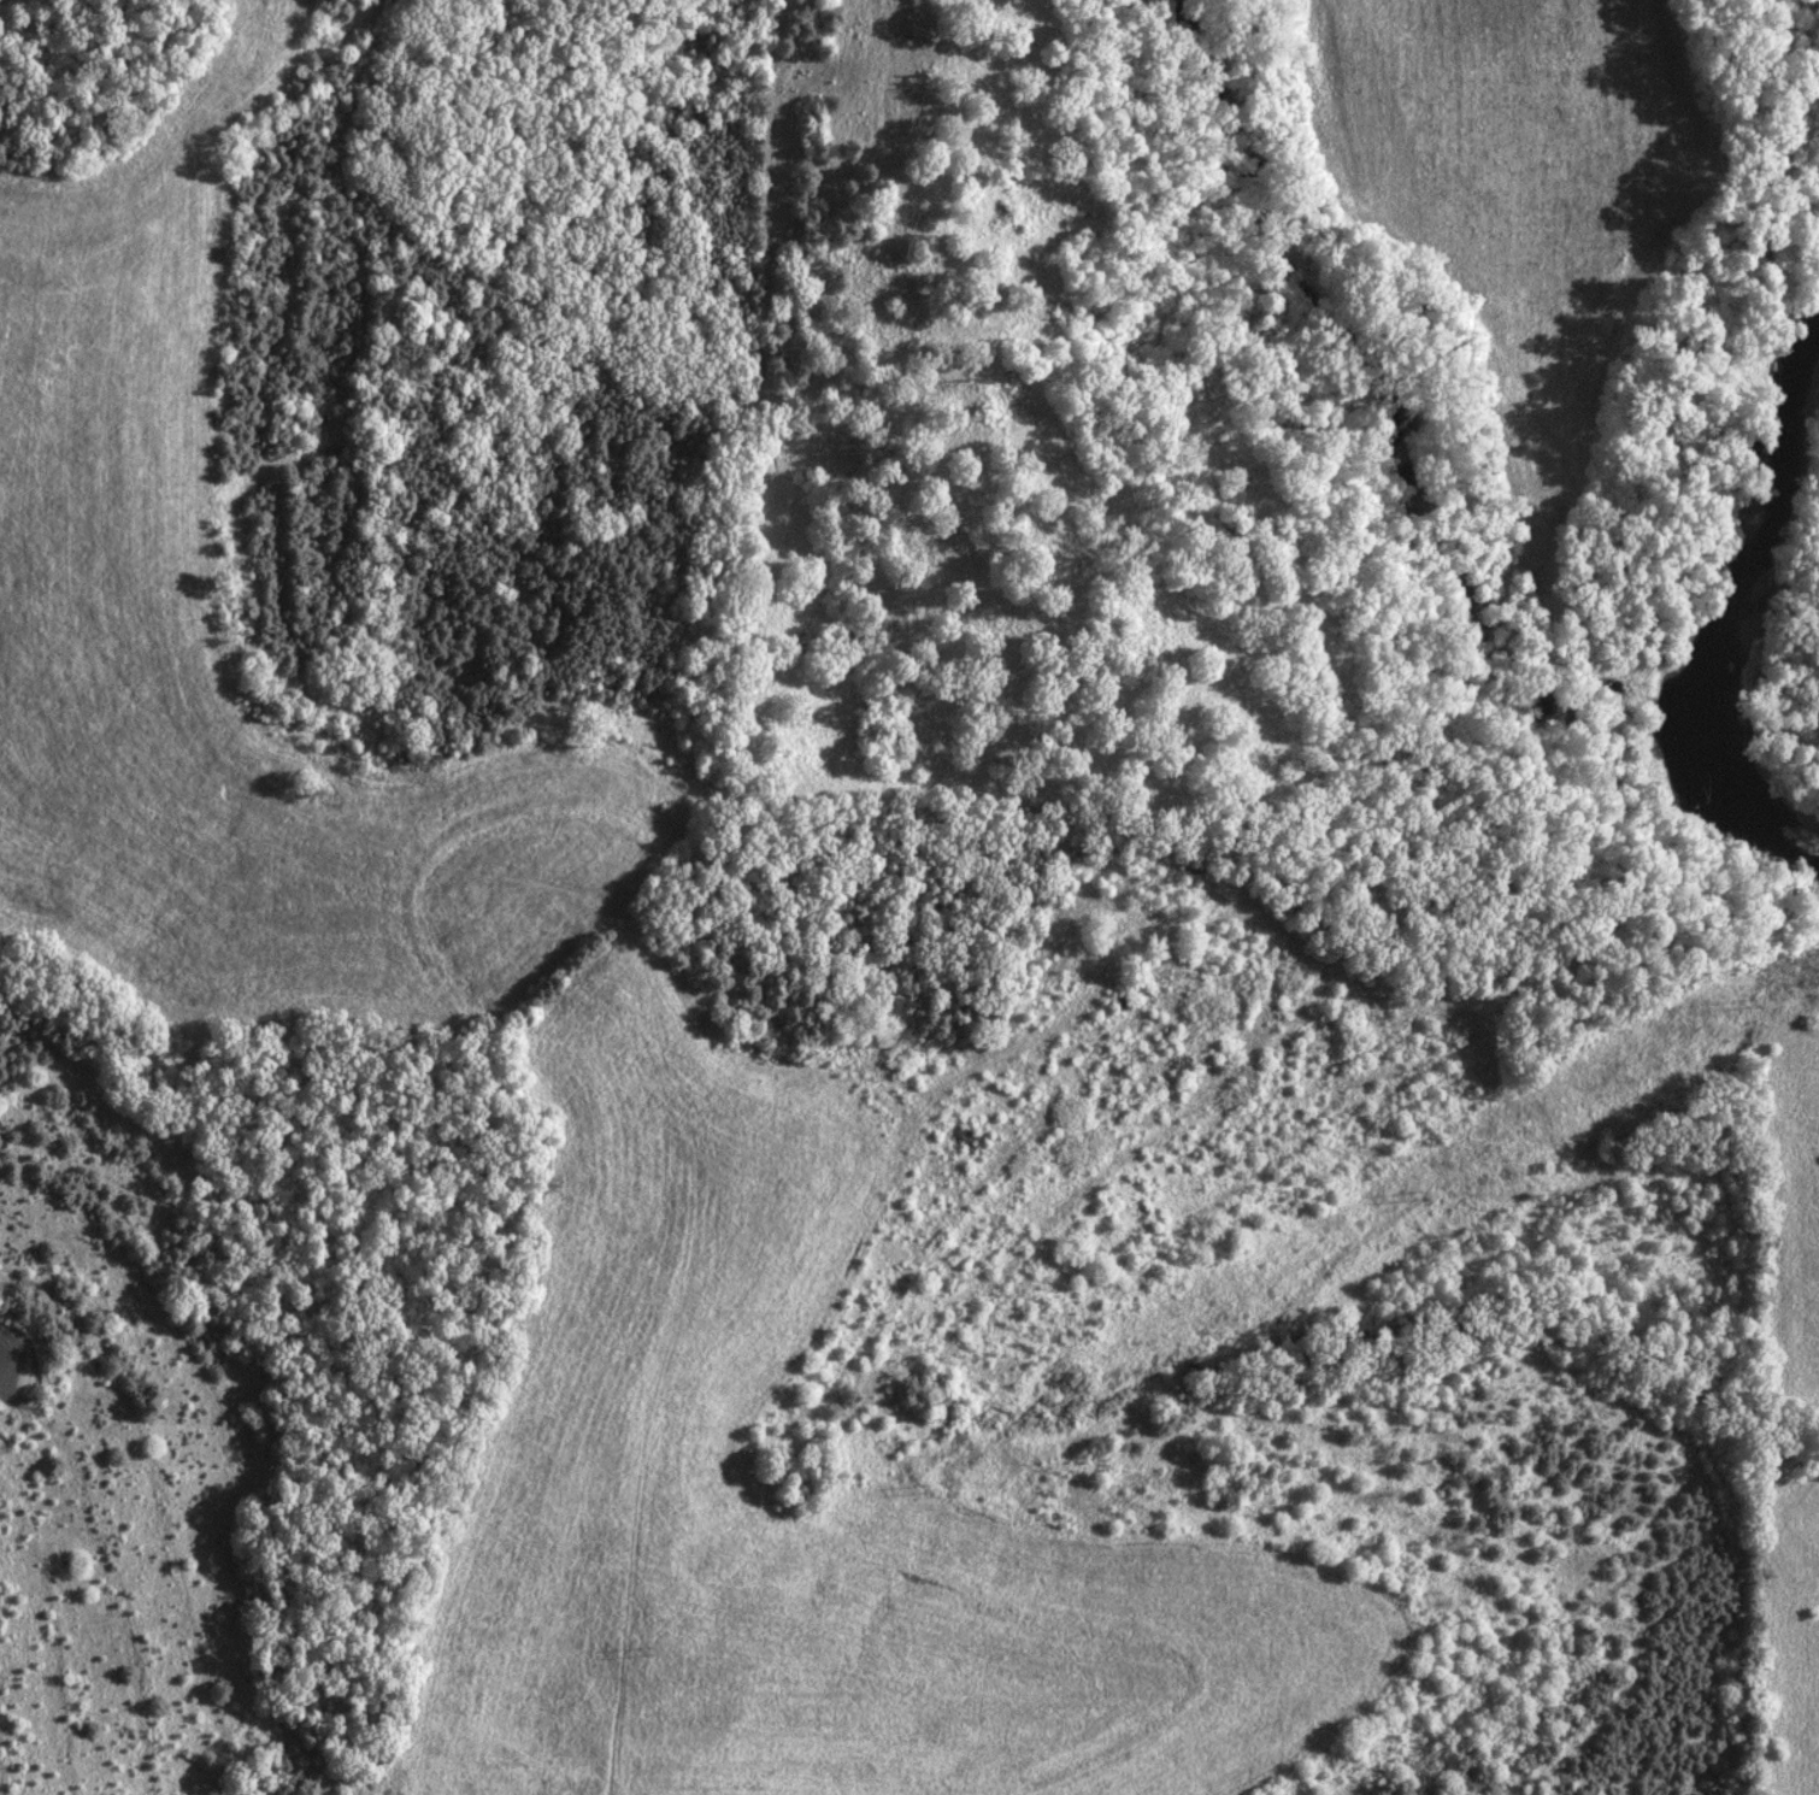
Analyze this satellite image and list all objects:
river: (1718, 635)

